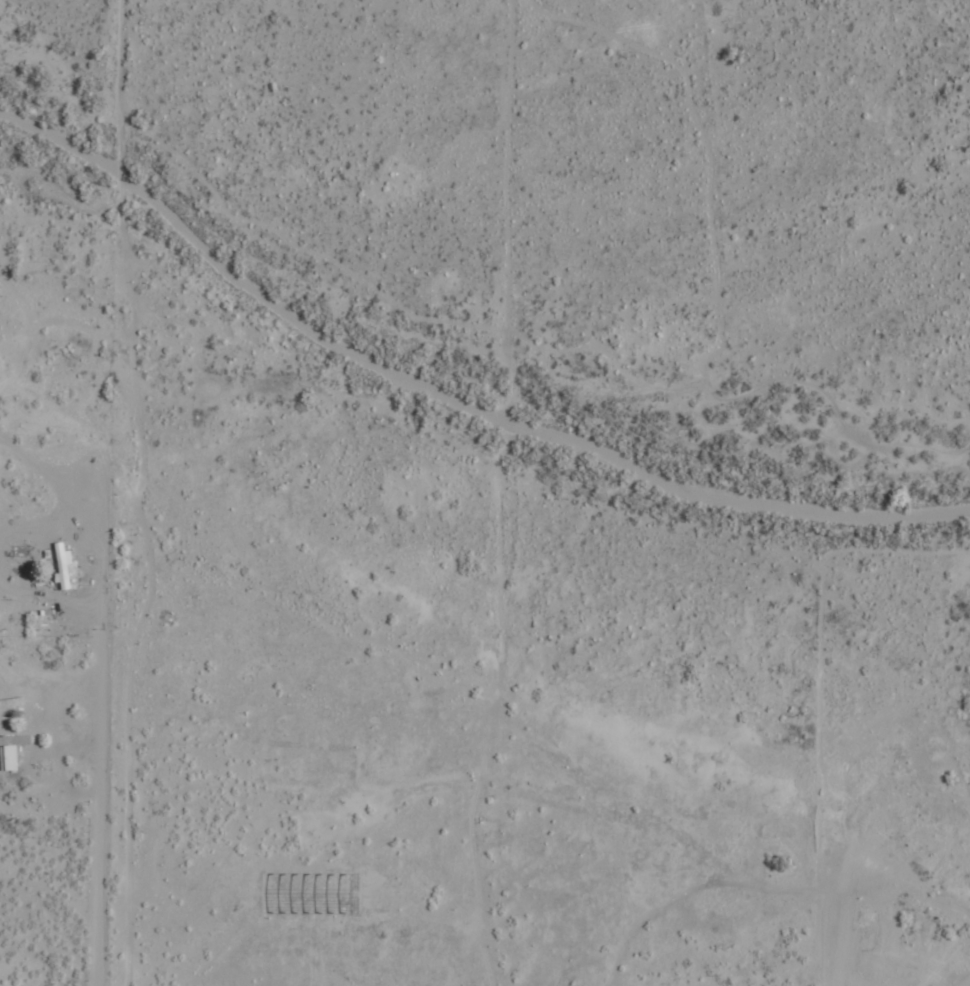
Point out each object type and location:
river: (457, 381)
building: (63, 564)
building: (11, 750)

